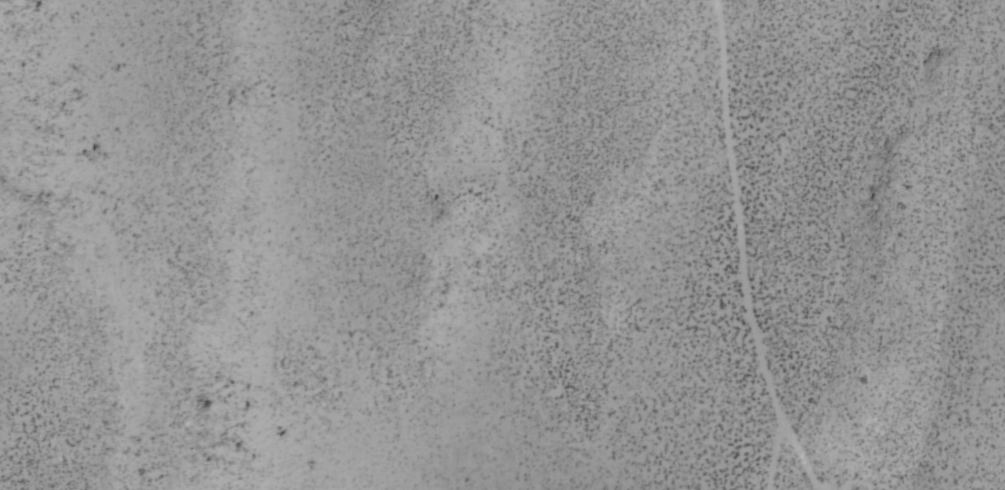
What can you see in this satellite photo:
road: (744, 265)
road: (785, 461)

